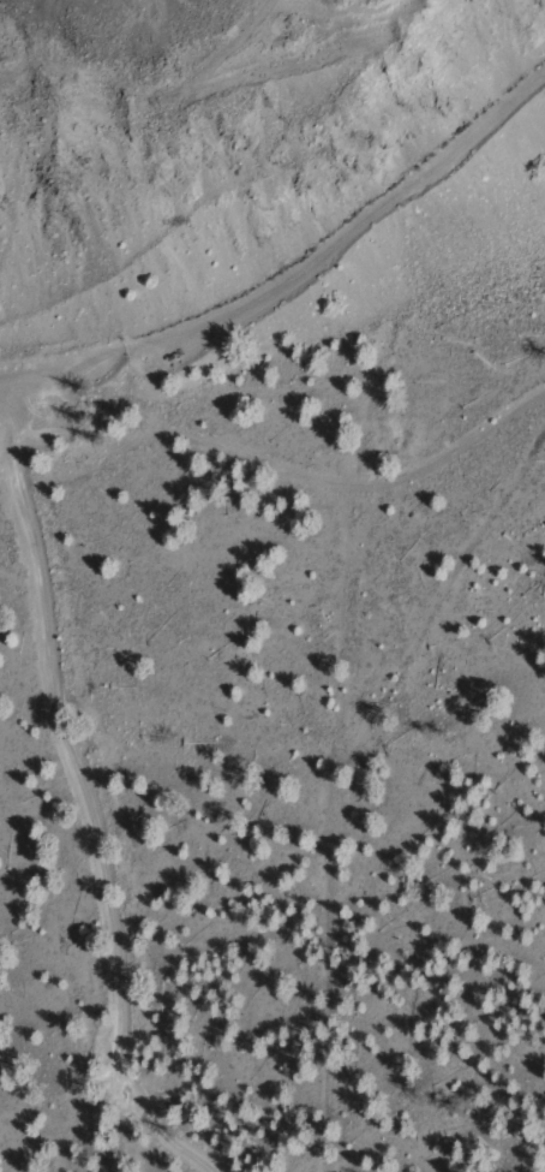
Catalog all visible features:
quarry: (200, 36)
road: (13, 427)
road: (292, 476)
road: (35, 499)

